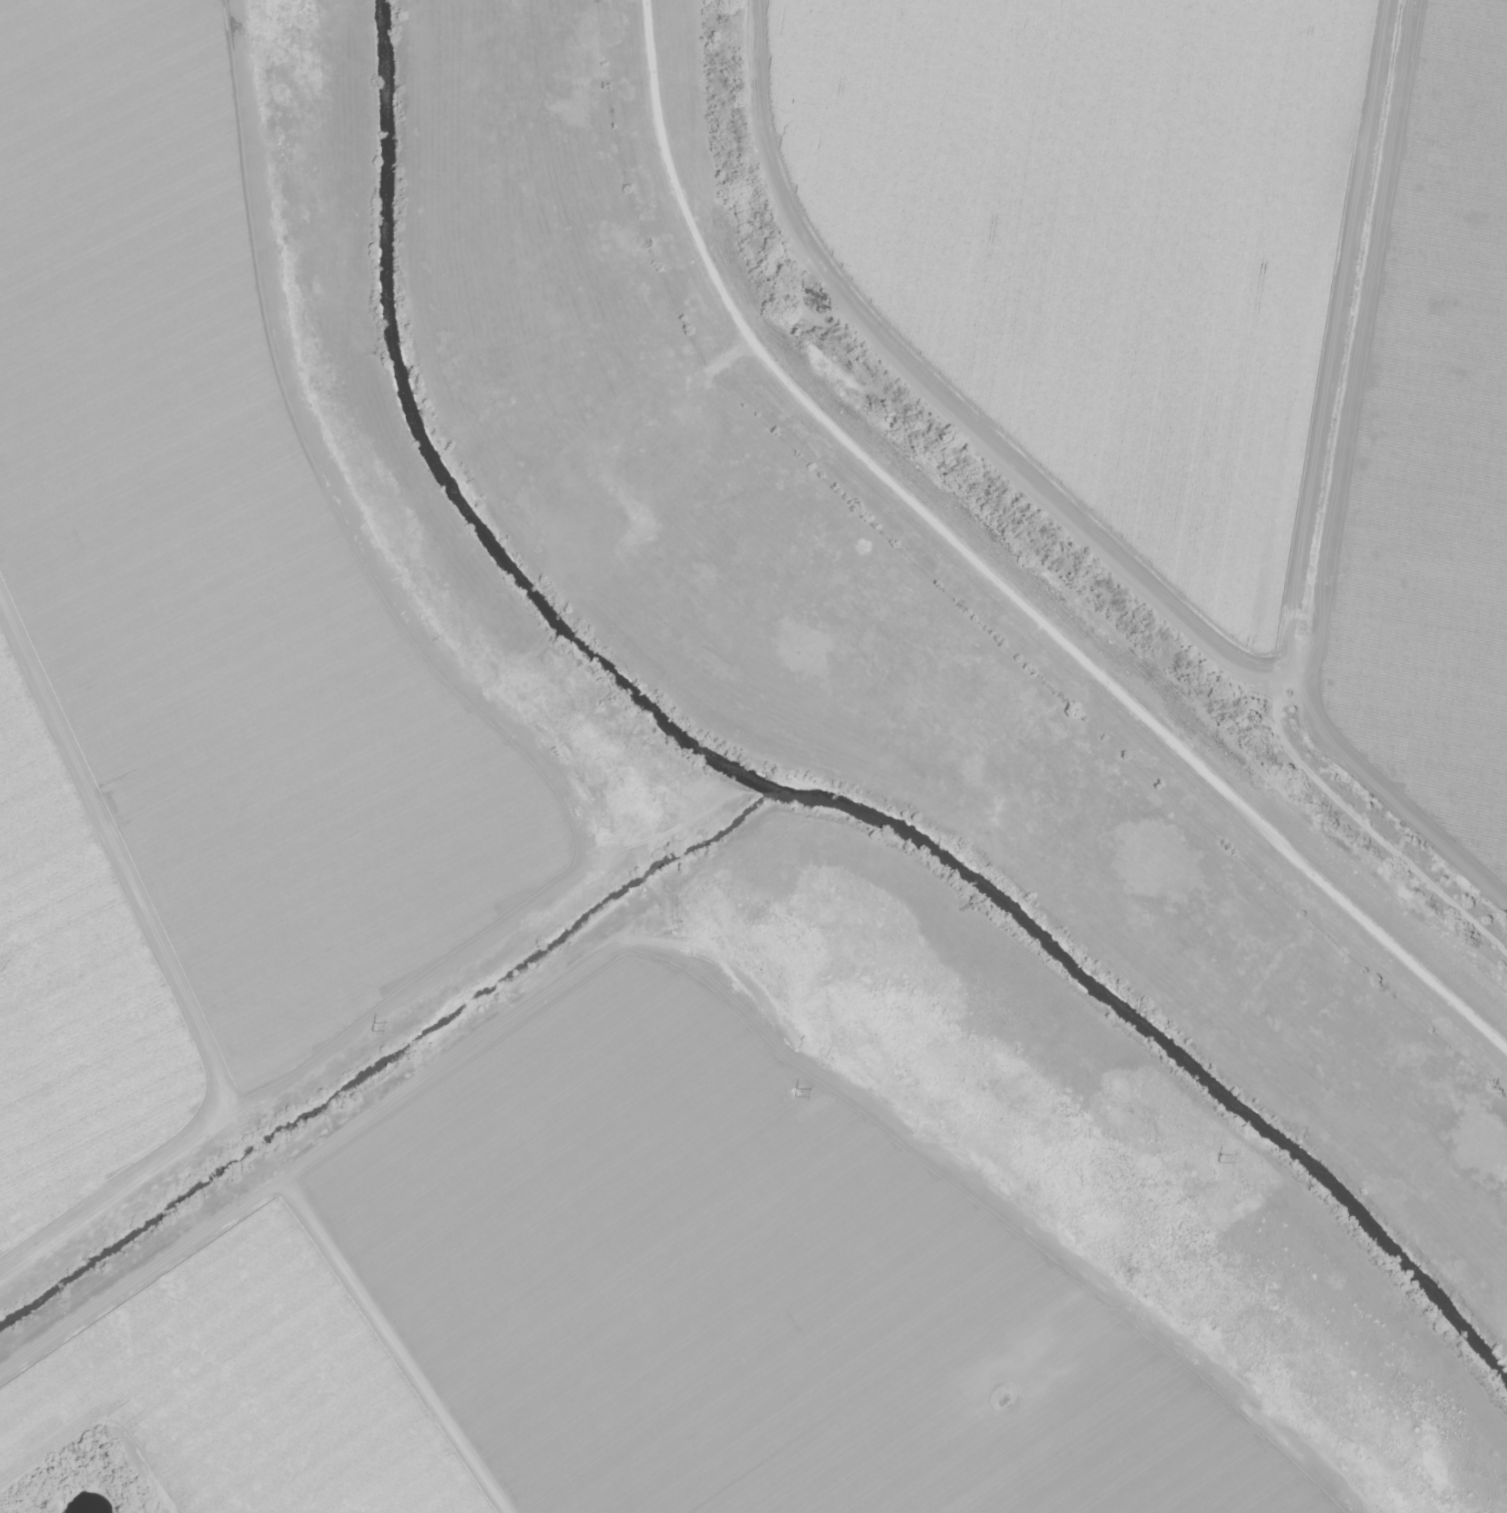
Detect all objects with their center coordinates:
road: (1103, 441)
river: (448, 463)
road: (184, 908)
power tower: (373, 1026)
river: (1171, 1046)
power tower: (797, 1092)
power tower: (1220, 1158)

